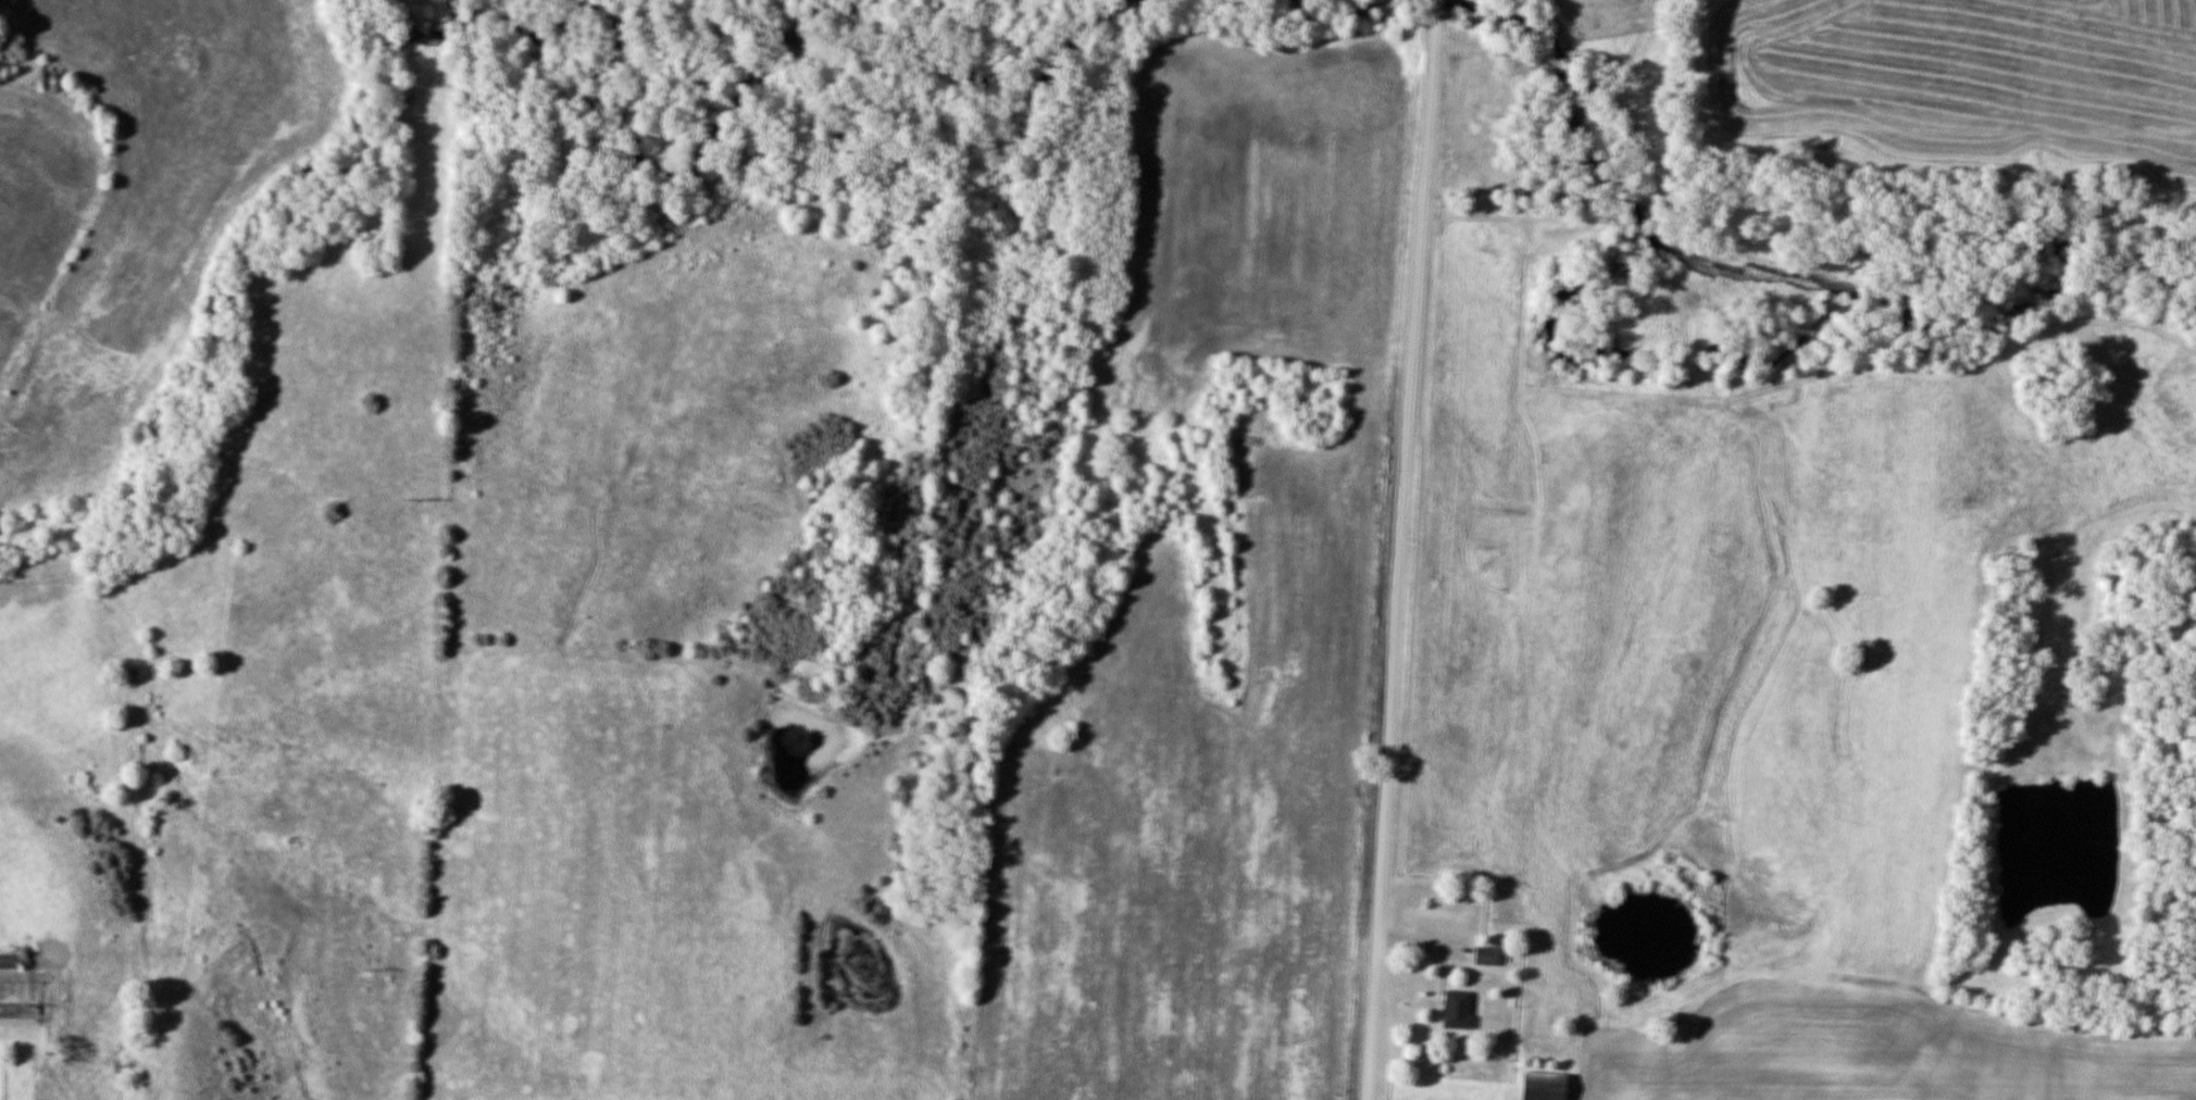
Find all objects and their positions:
road: (1402, 549)
building: (1487, 957)
building: (15, 962)
building: (1459, 1010)
building: (1546, 1086)

